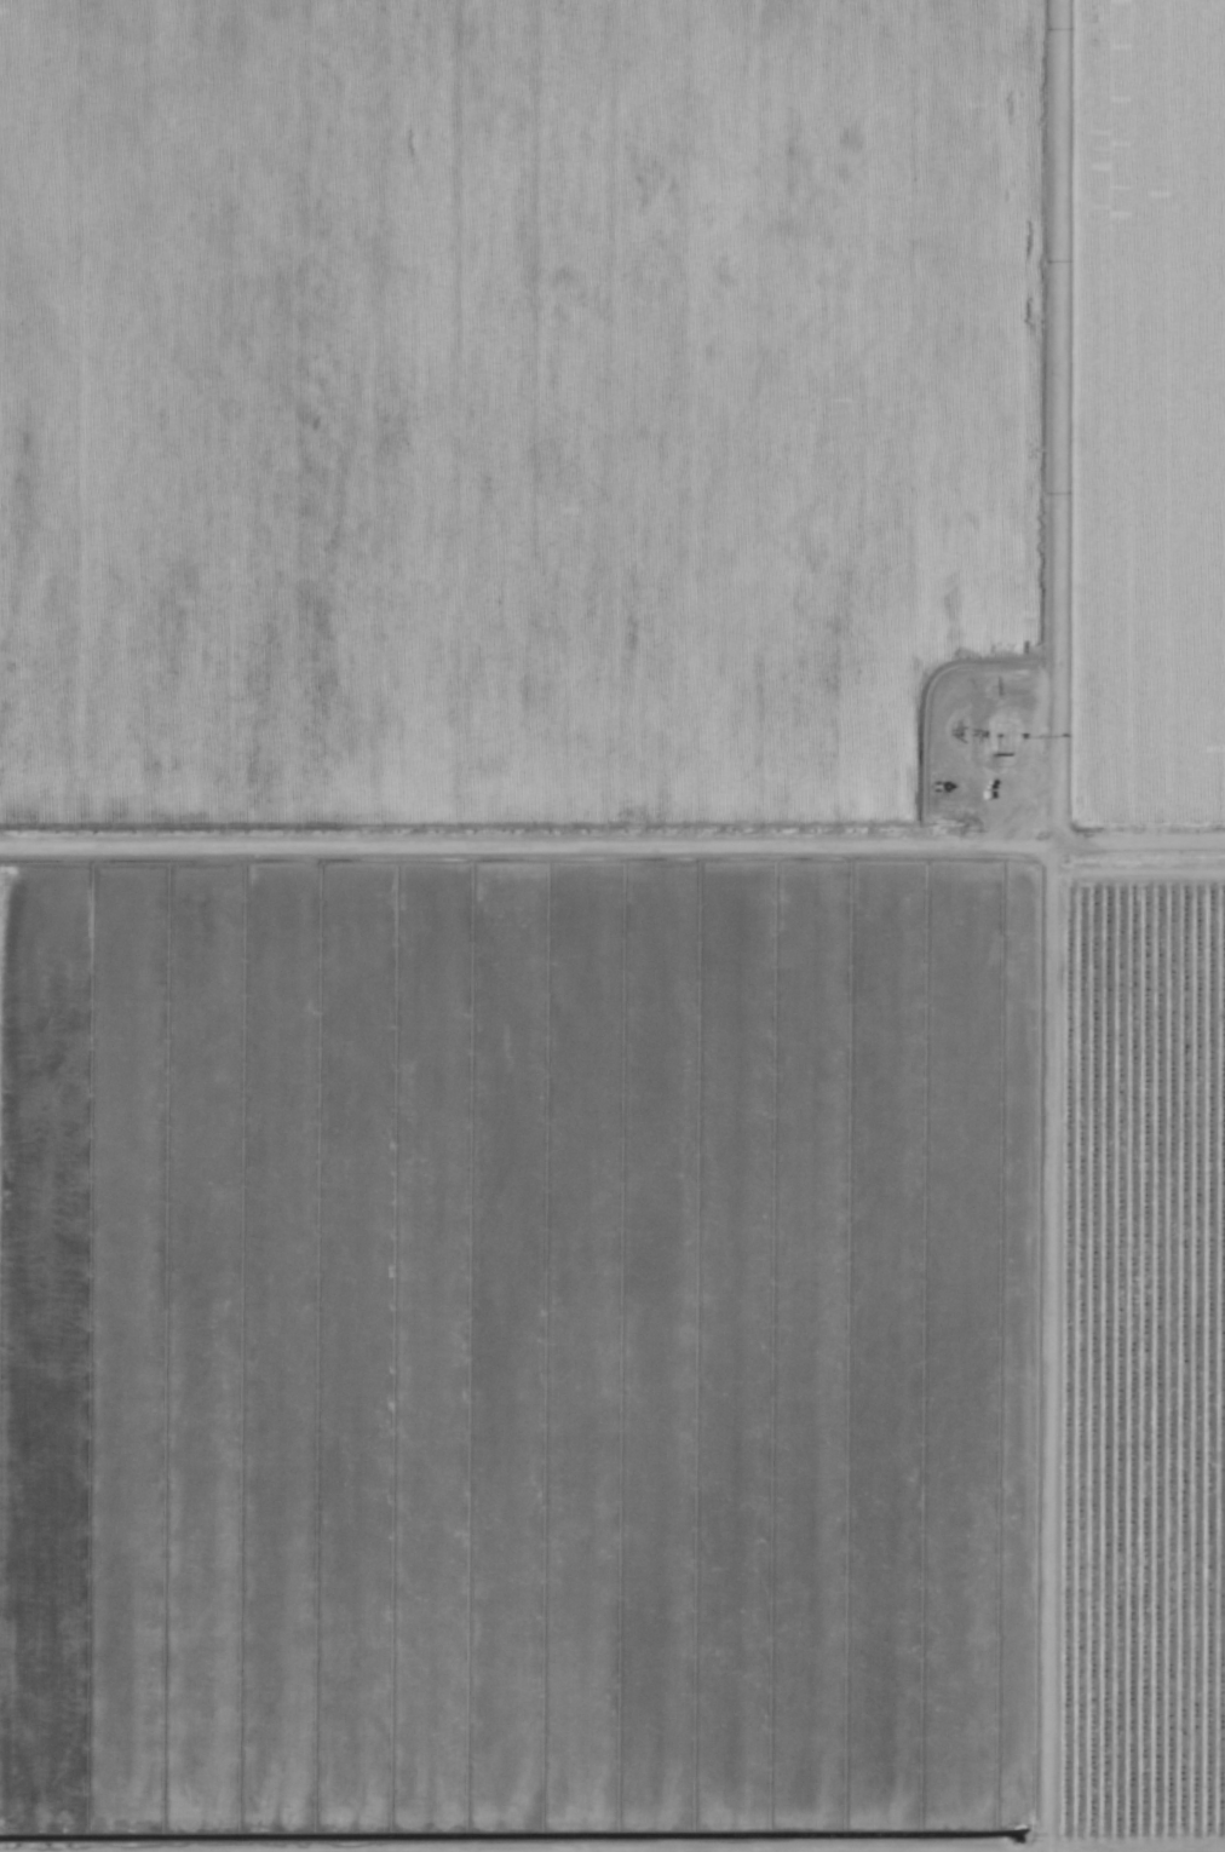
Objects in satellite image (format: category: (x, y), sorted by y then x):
road: (612, 832)
road: (1052, 926)
road: (1133, 1850)

